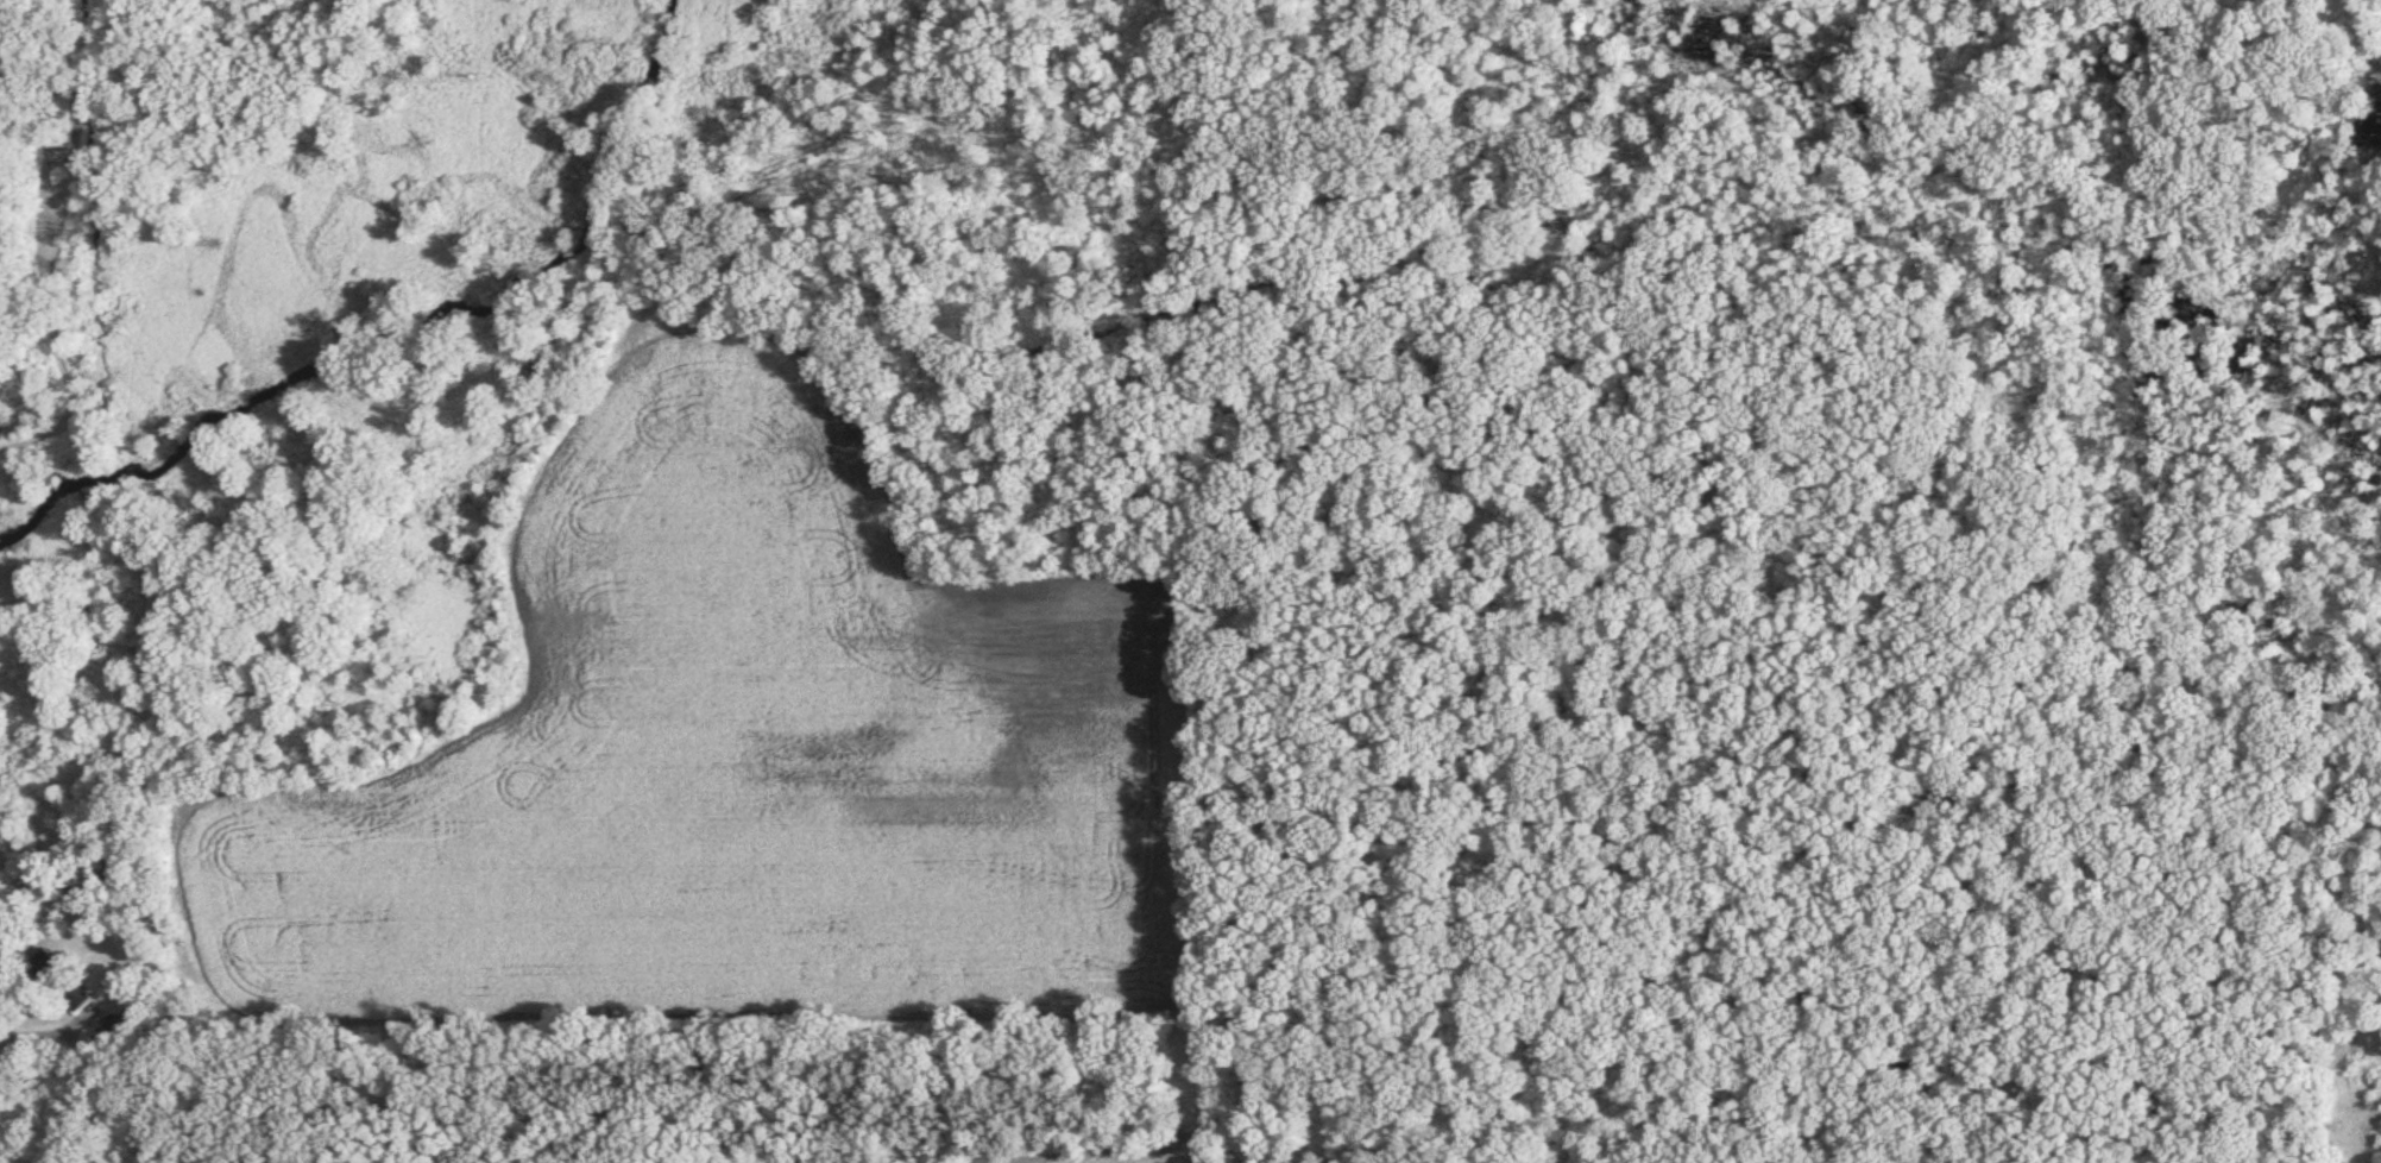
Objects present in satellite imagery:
building: (57, 983)
building: (114, 1030)
road: (50, 1037)

